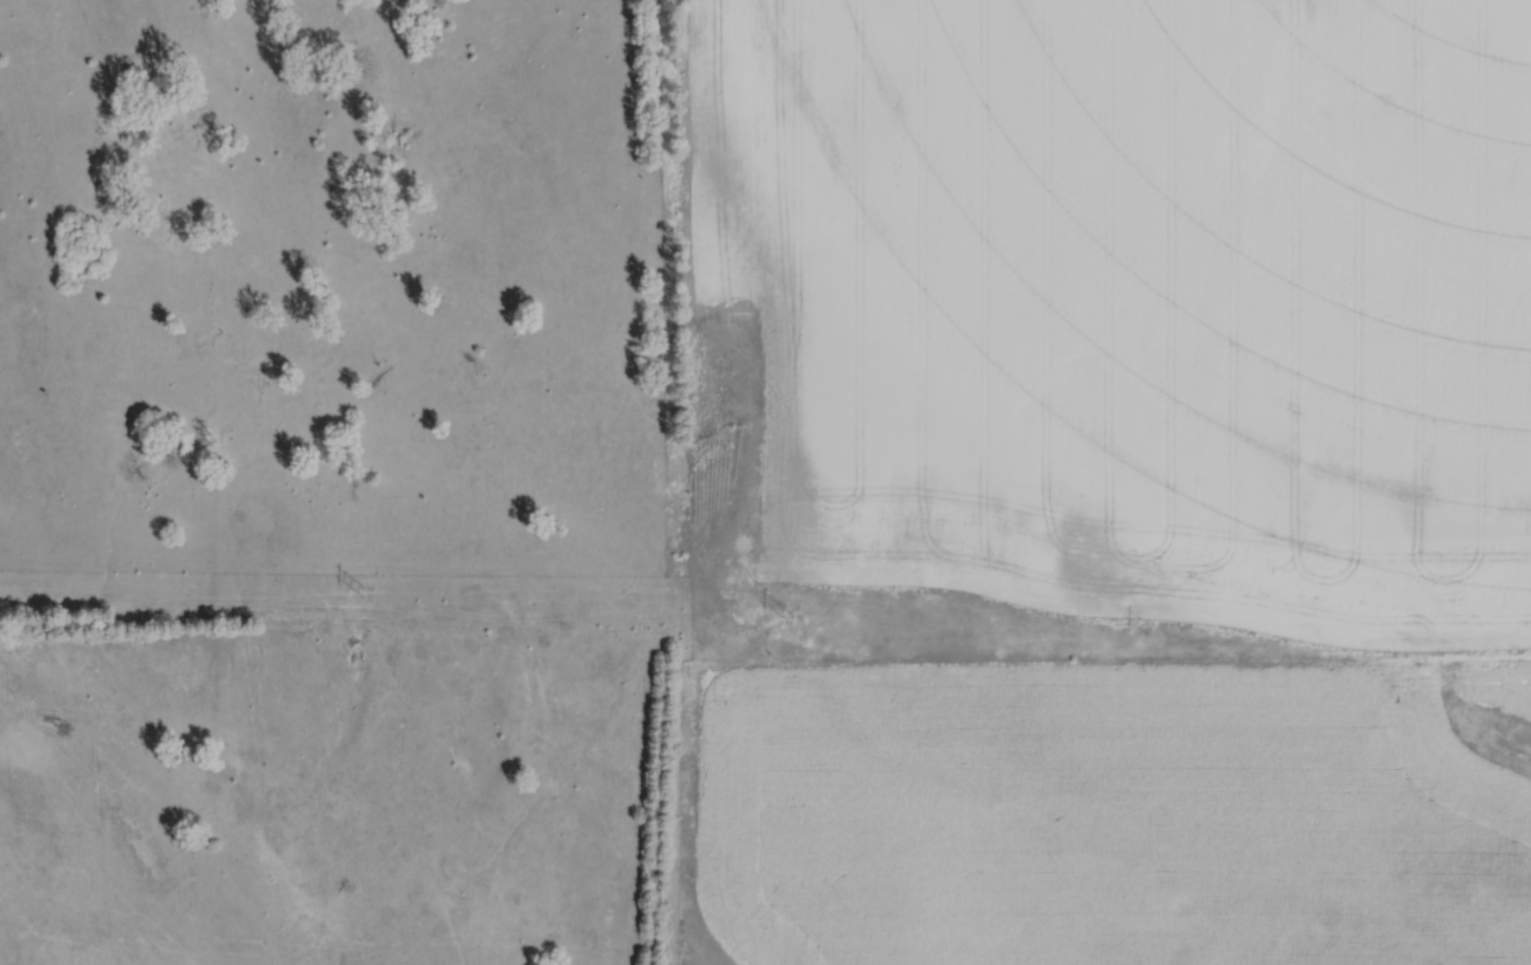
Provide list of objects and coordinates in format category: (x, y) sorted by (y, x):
power tower: (364, 589)
power tower: (782, 610)
power tower: (1146, 627)

